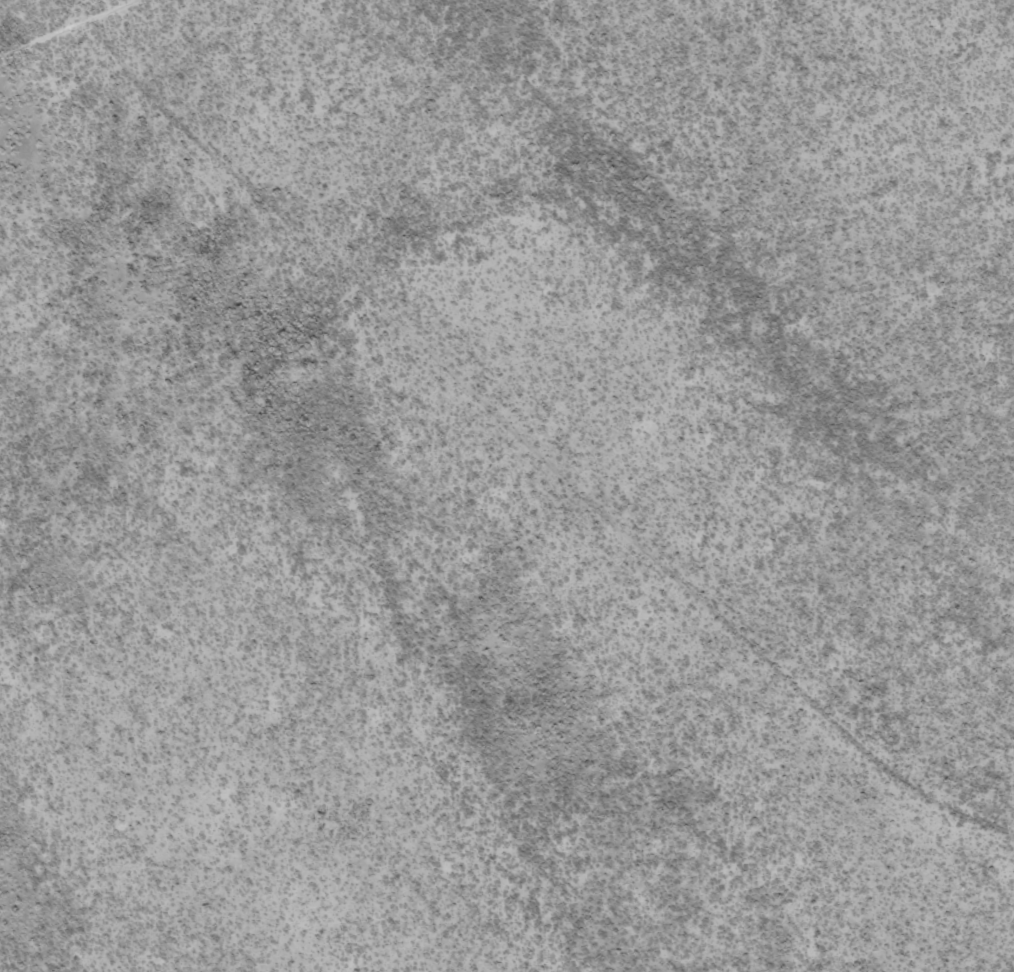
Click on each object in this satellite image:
road: (63, 26)
road: (536, 446)

